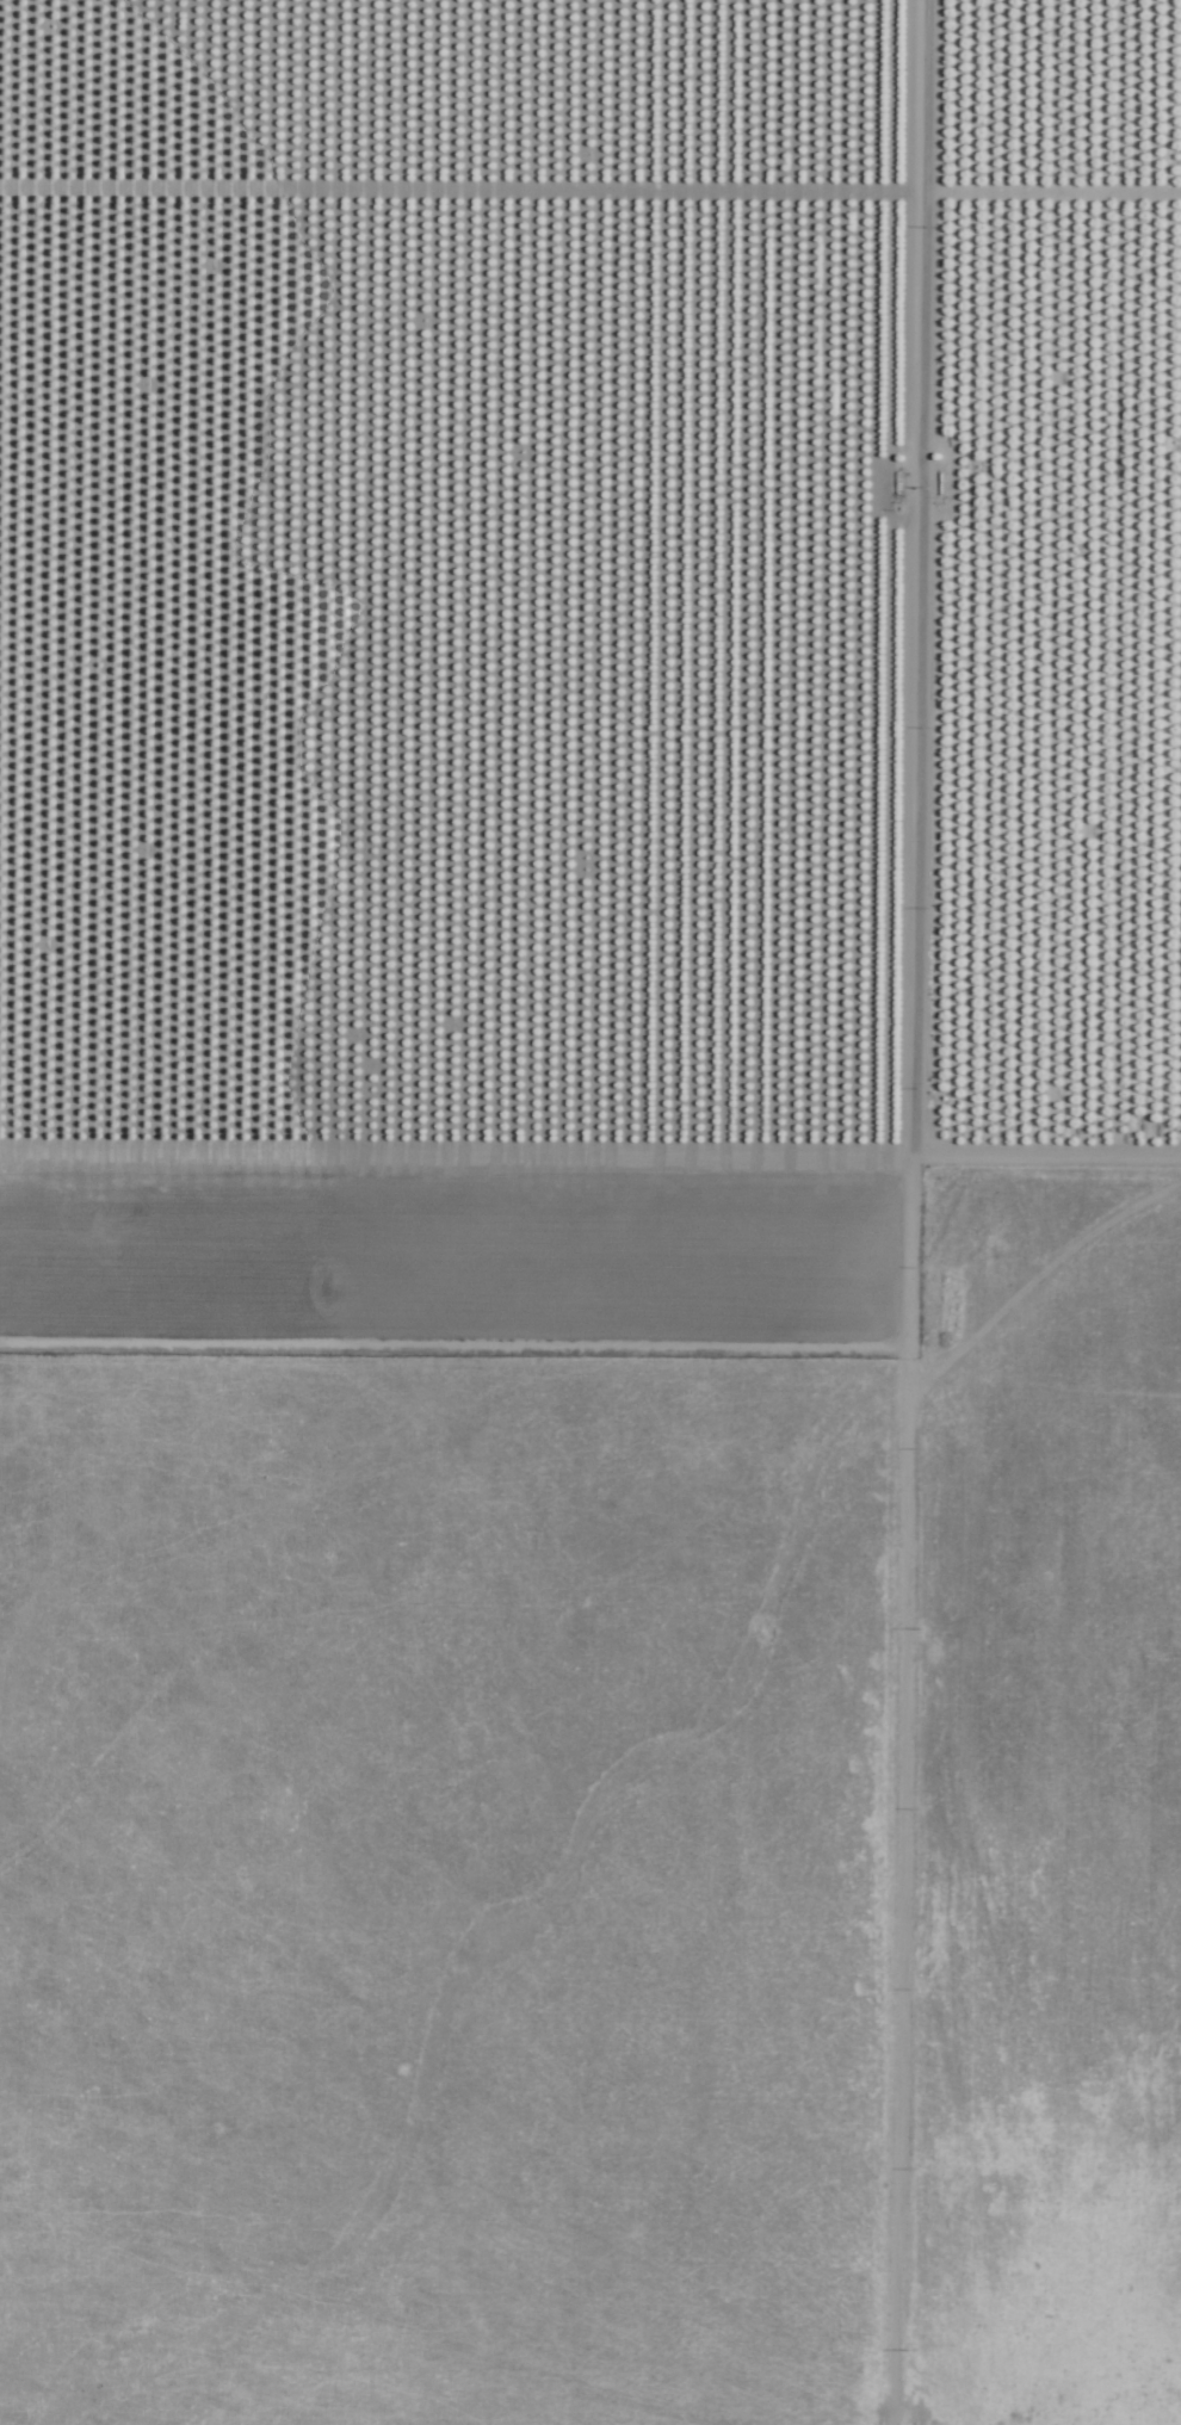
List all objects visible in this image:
crop: (412, 580)
road: (589, 1163)
road: (890, 1212)

